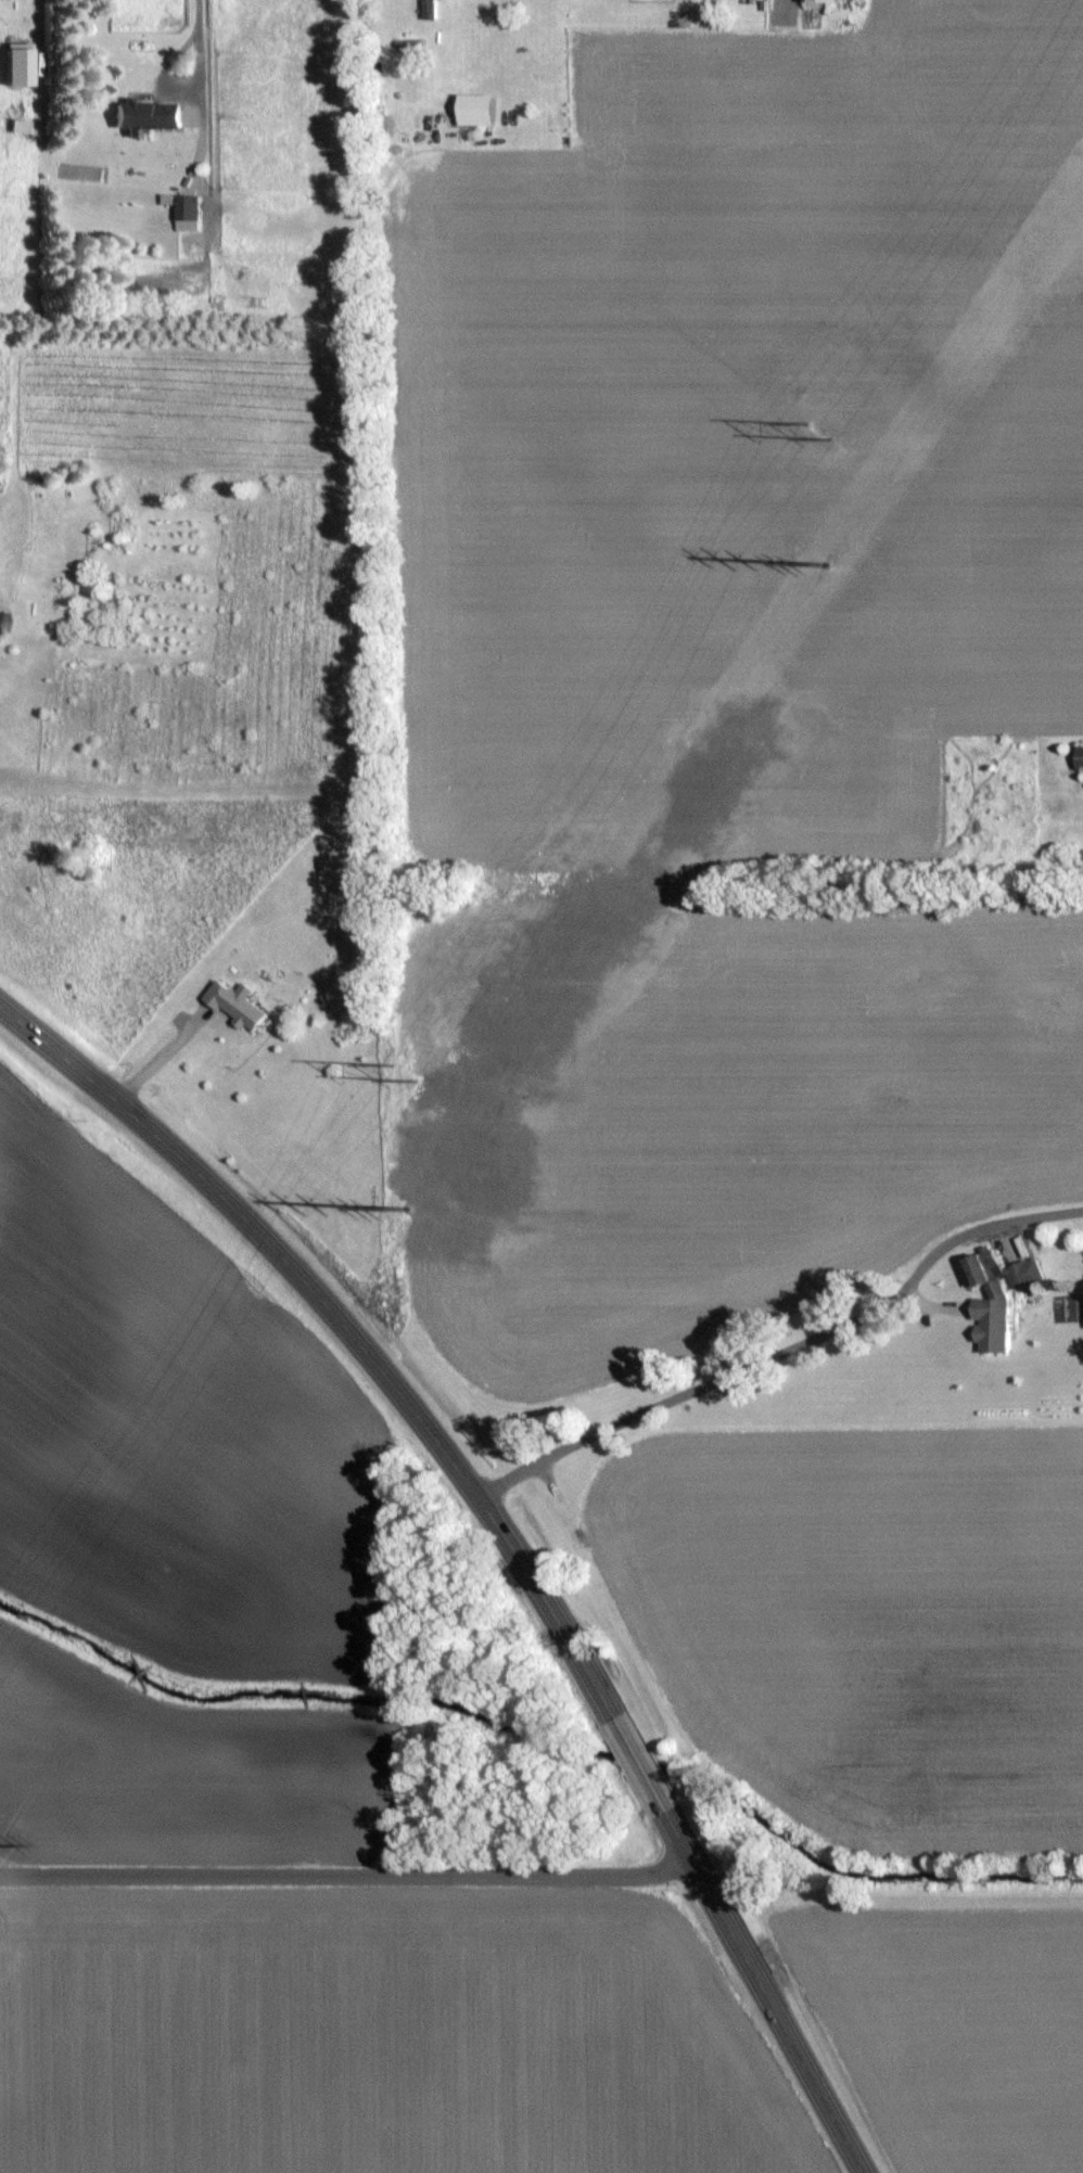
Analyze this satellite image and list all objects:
building: (818, 1)
building: (426, 9)
road: (200, 14)
road: (451, 36)
road: (174, 81)
building: (473, 108)
building: (144, 115)
building: (186, 206)
power tower: (817, 427)
power tower: (829, 565)
building: (1, 622)
building: (1079, 756)
building: (234, 1005)
road: (160, 1054)
power tower: (402, 1072)
power tower: (412, 1201)
building: (996, 1293)
road: (345, 1328)
road: (783, 1350)
road: (638, 1764)
road: (346, 1876)
road: (763, 1992)

